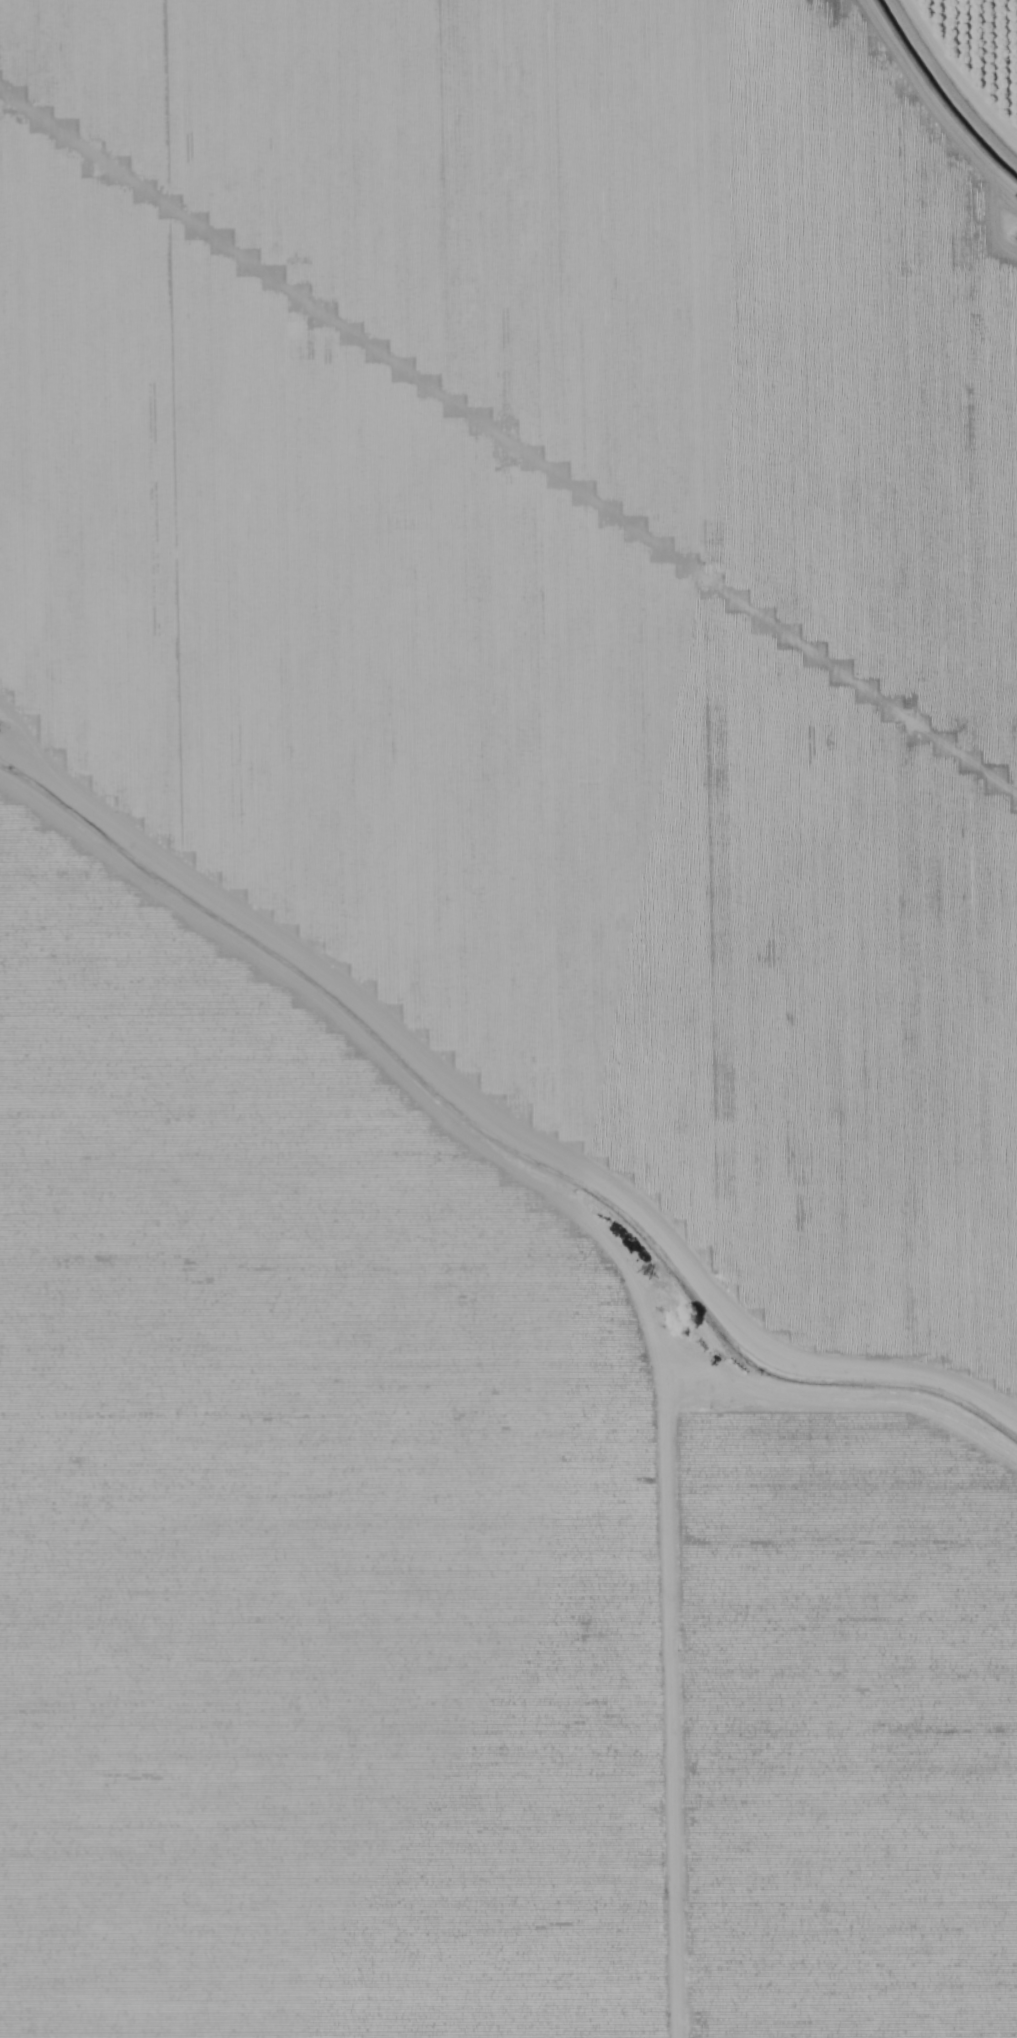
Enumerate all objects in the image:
crop: (978, 60)
crop: (552, 591)
crop: (439, 1591)

